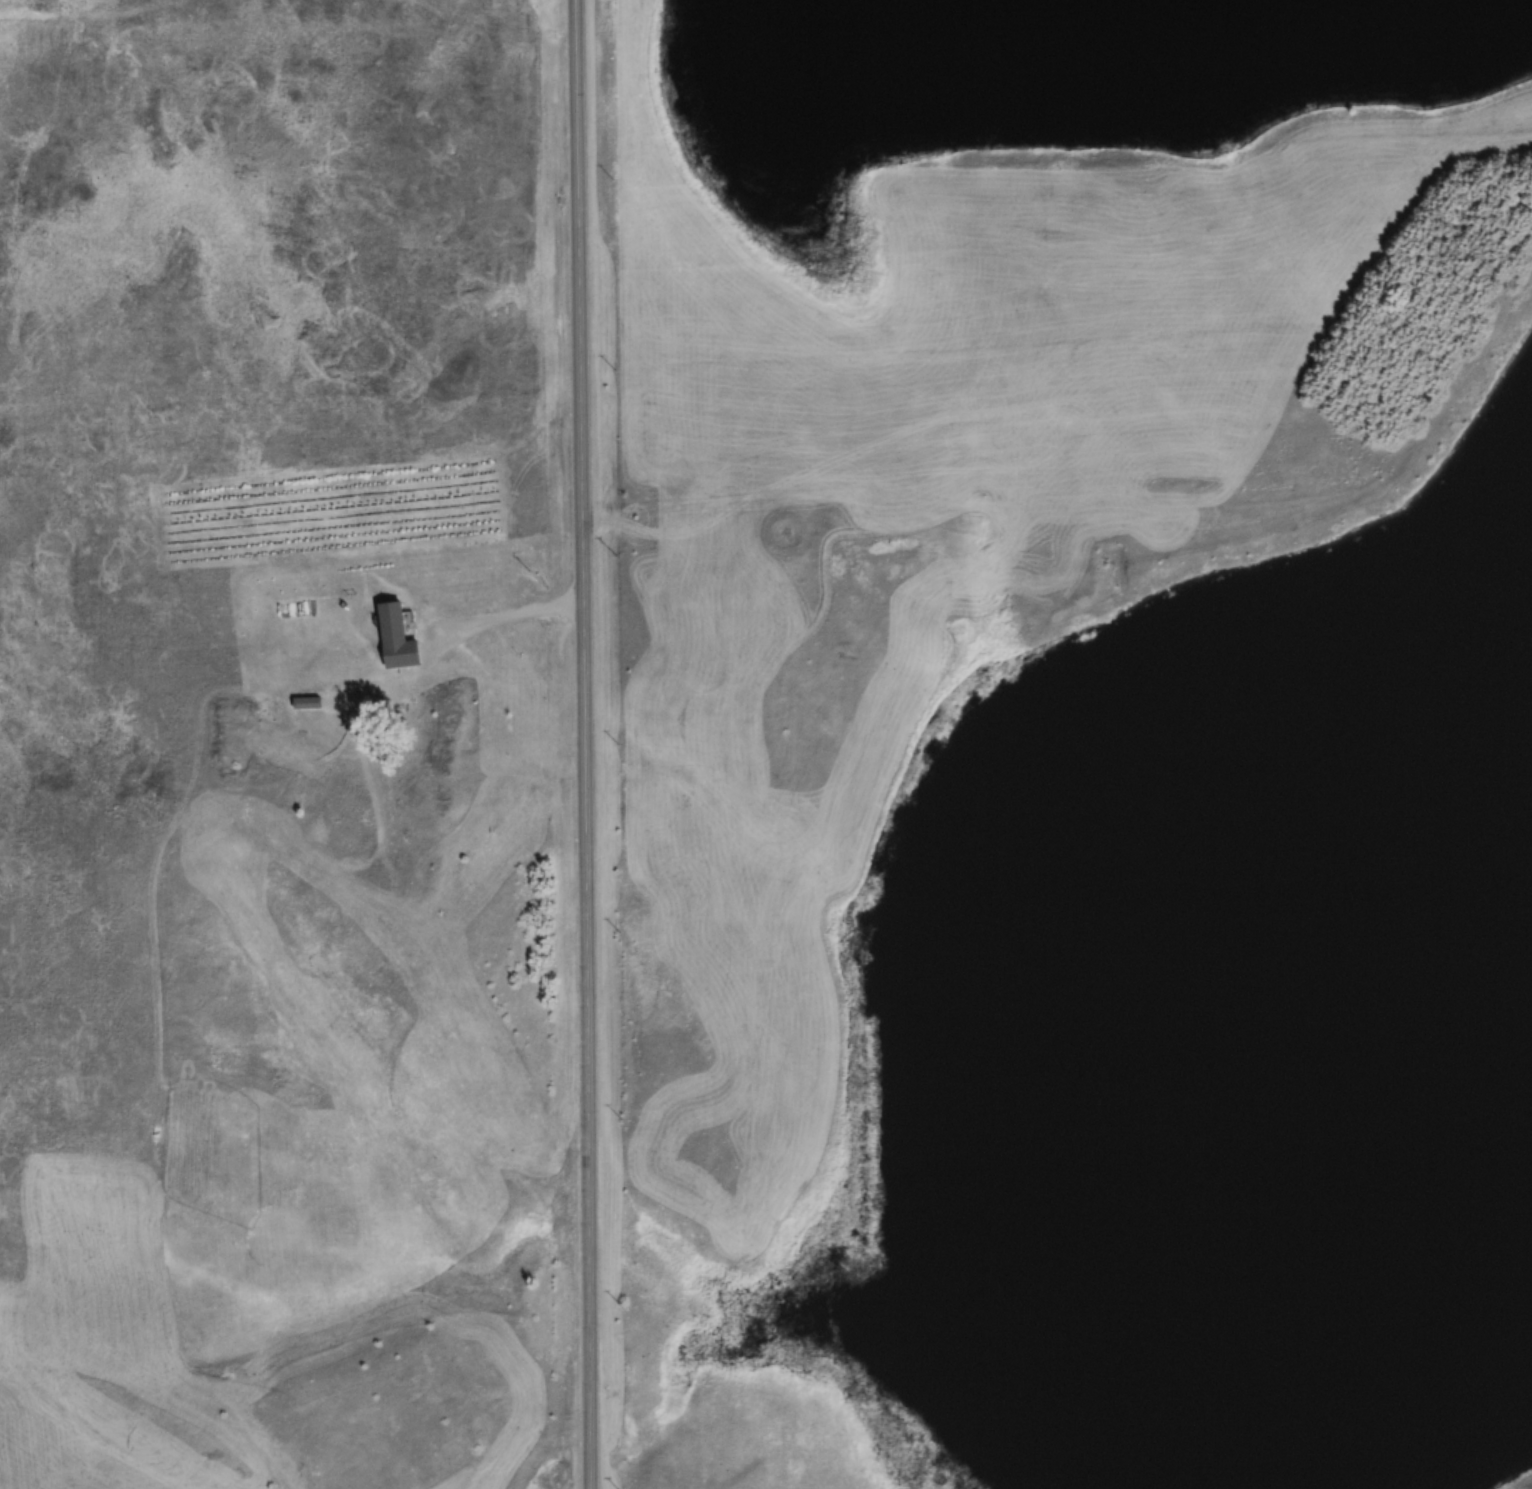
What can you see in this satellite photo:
road: (590, 744)

